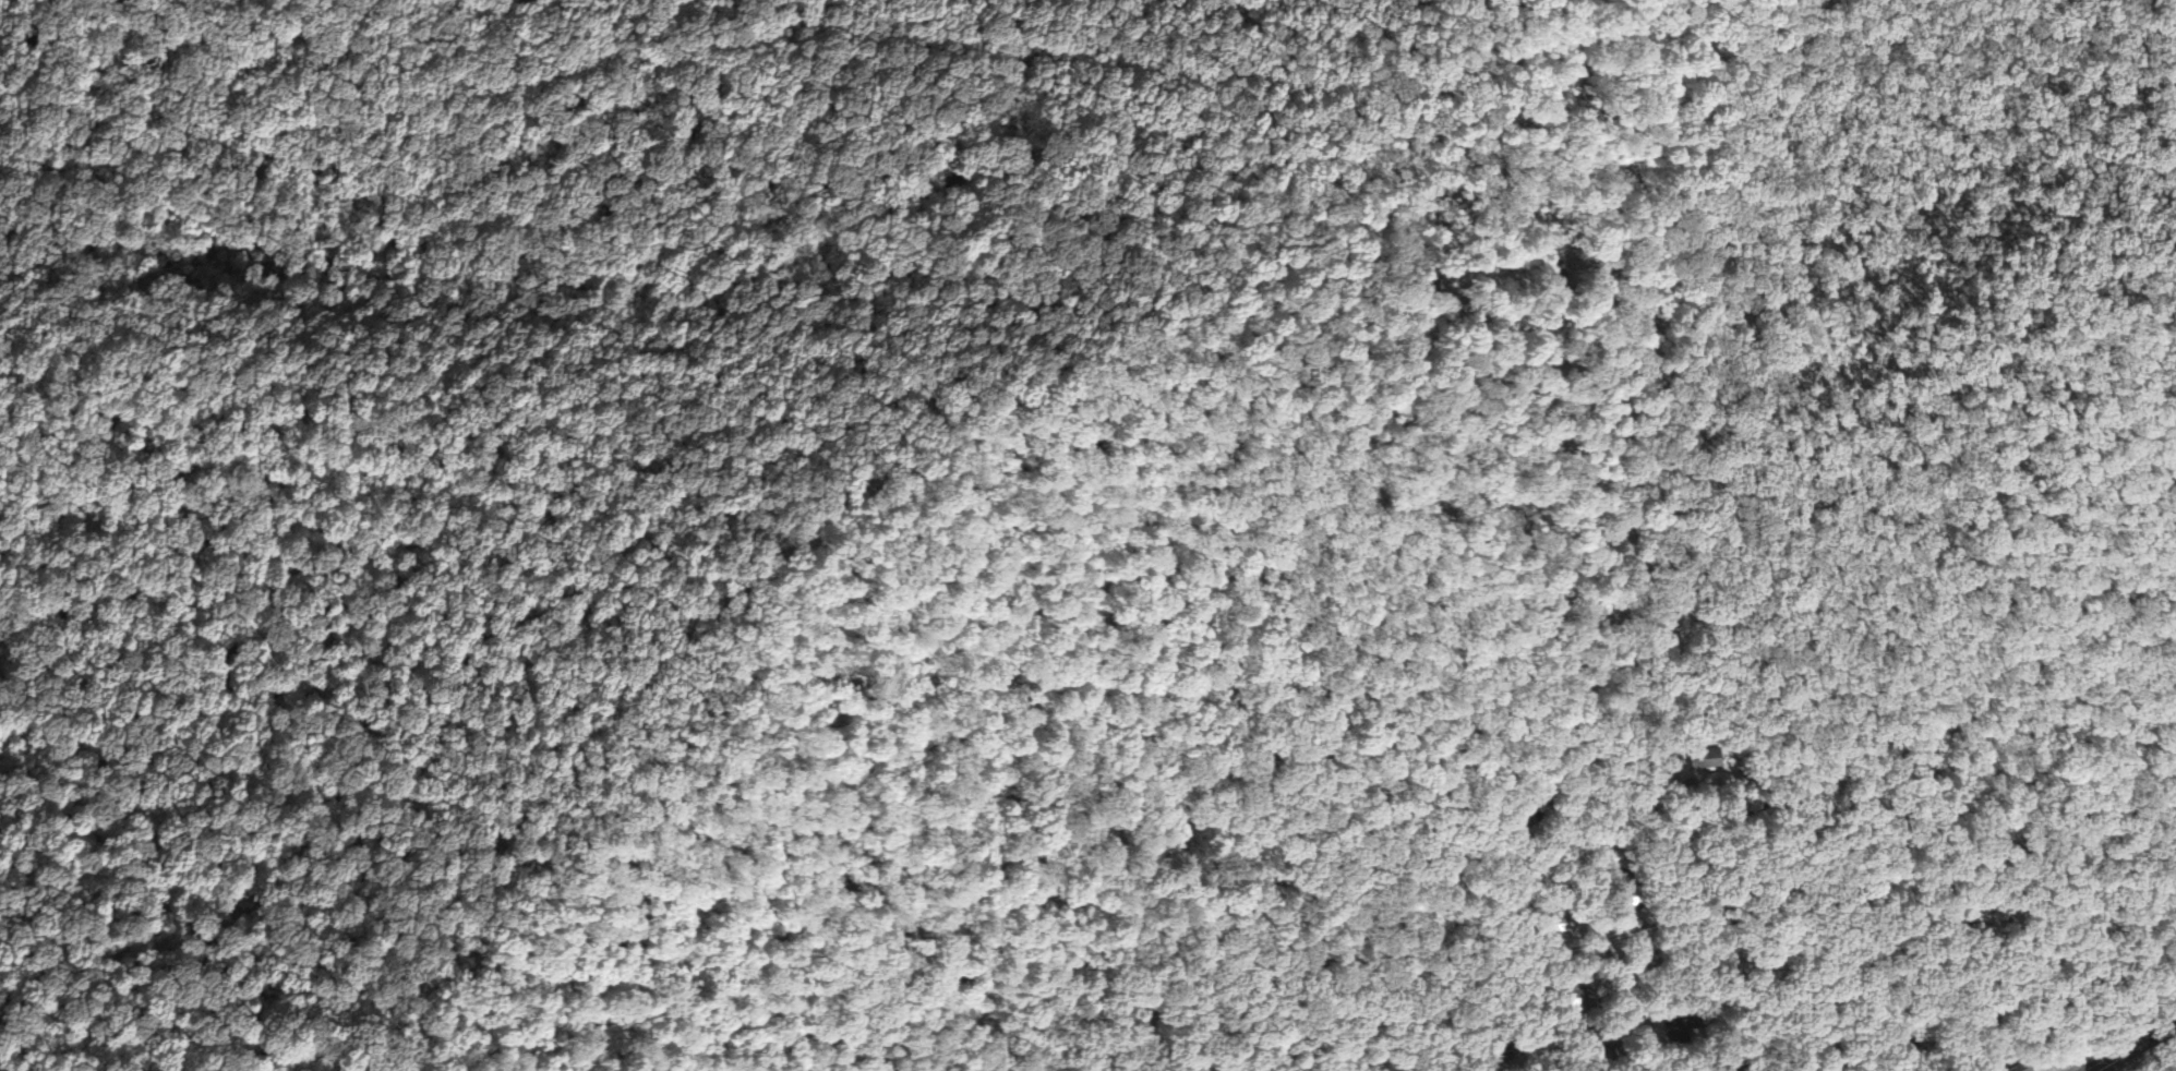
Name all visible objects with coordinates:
road: (1540, 855)
road: (1638, 929)
road: (1757, 964)
building: (1589, 1001)
road: (2140, 1047)
road: (1774, 1049)
building: (2019, 1067)

